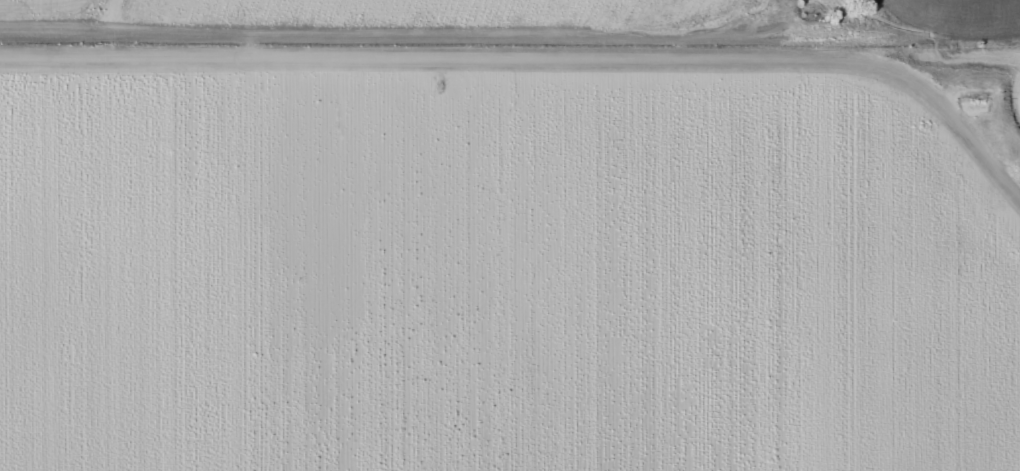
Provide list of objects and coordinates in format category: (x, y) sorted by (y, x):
road: (545, 62)
building: (972, 105)

